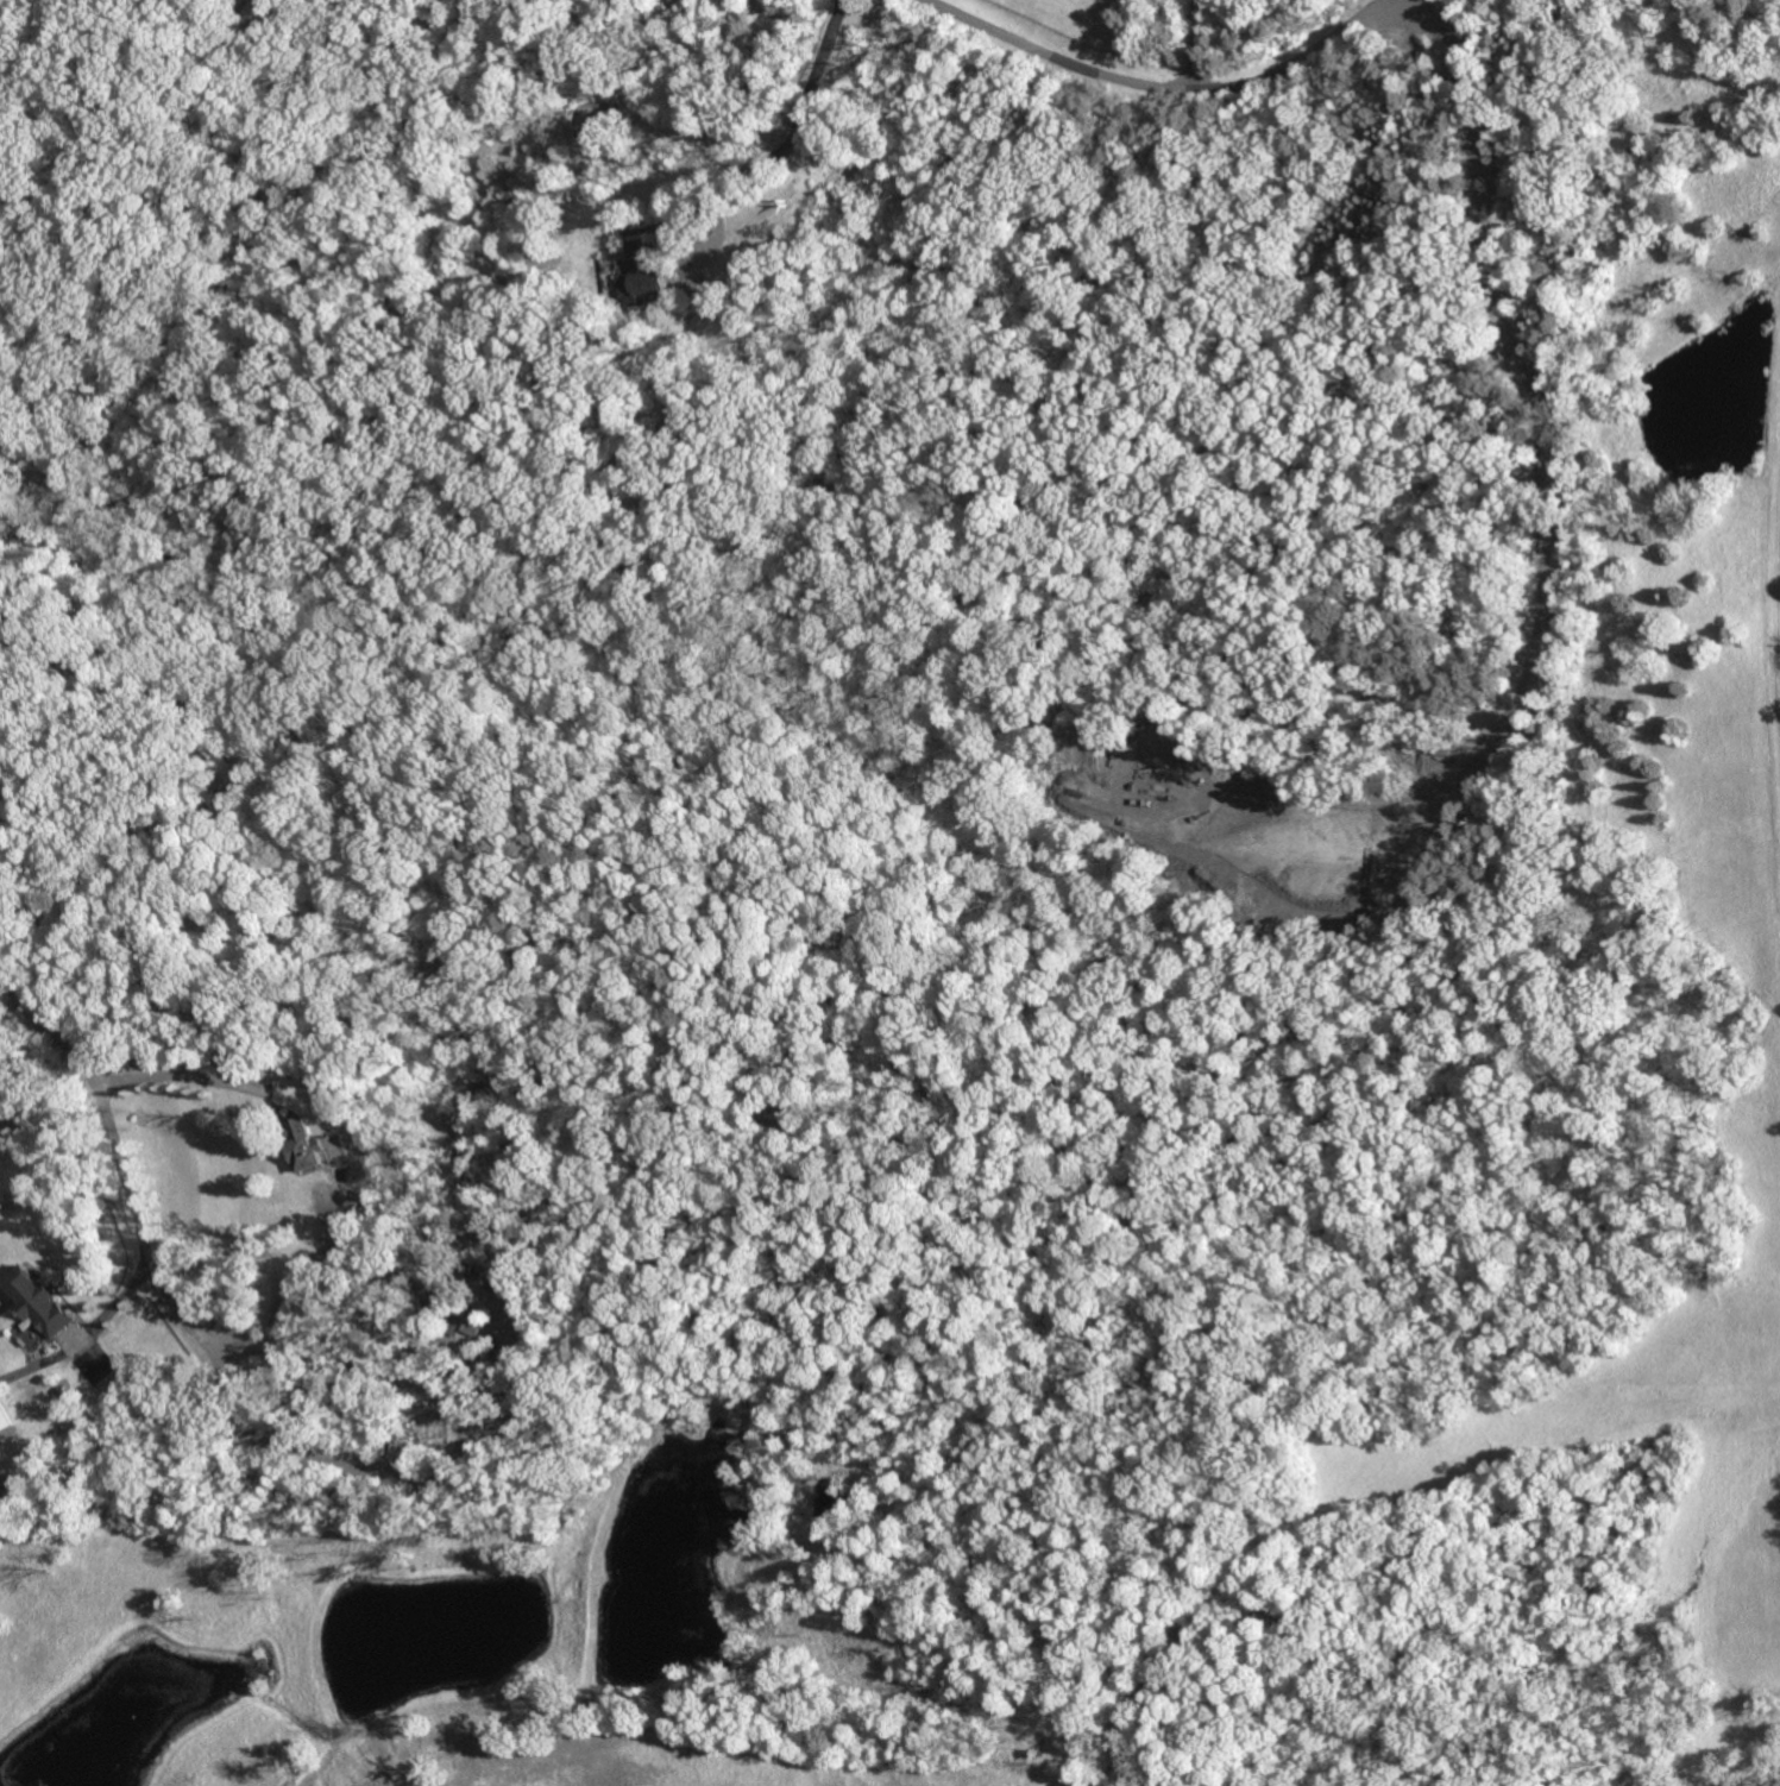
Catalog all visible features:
road: (1414, 1)
building: (159, 43)
road: (1197, 43)
road: (1175, 87)
road: (788, 140)
building: (545, 257)
building: (639, 276)
building: (306, 1145)
road: (386, 1162)
road: (150, 1257)
building: (36, 1302)
building: (463, 1326)
road: (84, 1334)
road: (360, 1370)
building: (59, 1391)
building: (505, 1395)
building: (5, 1420)
building: (377, 1447)
building: (391, 1451)
road: (407, 1484)

